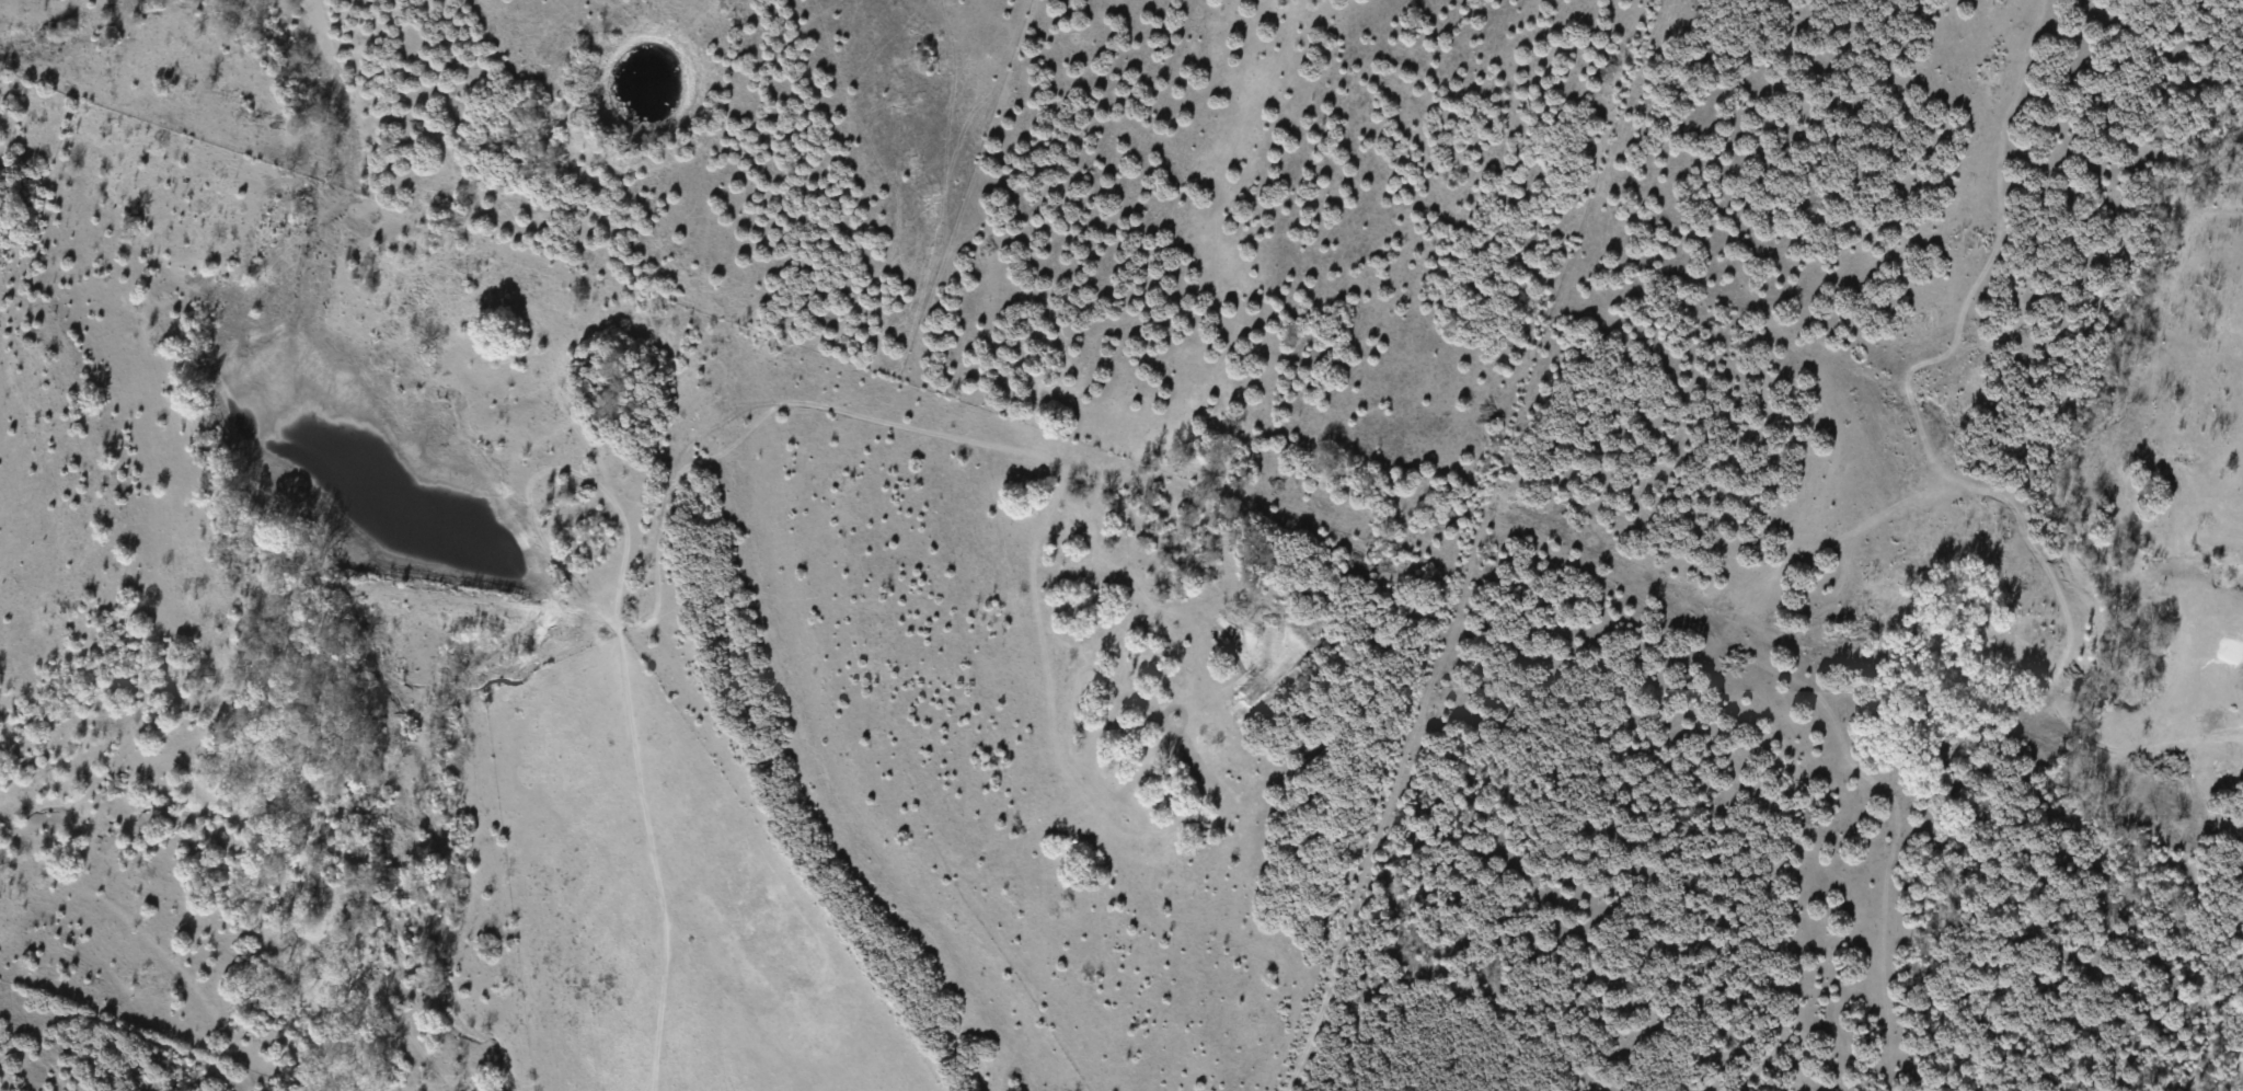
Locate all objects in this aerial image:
building: (2242, 661)

